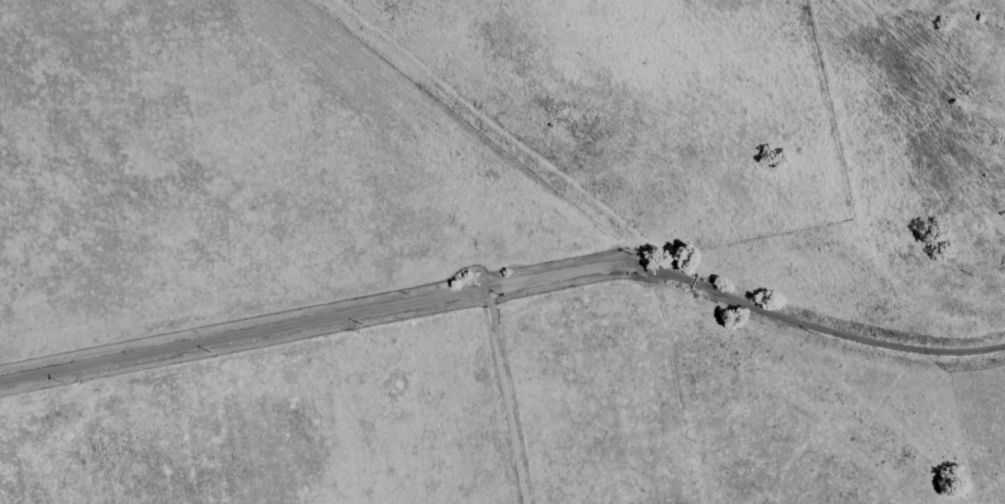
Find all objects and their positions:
road: (336, 318)
road: (836, 332)
road: (509, 396)

